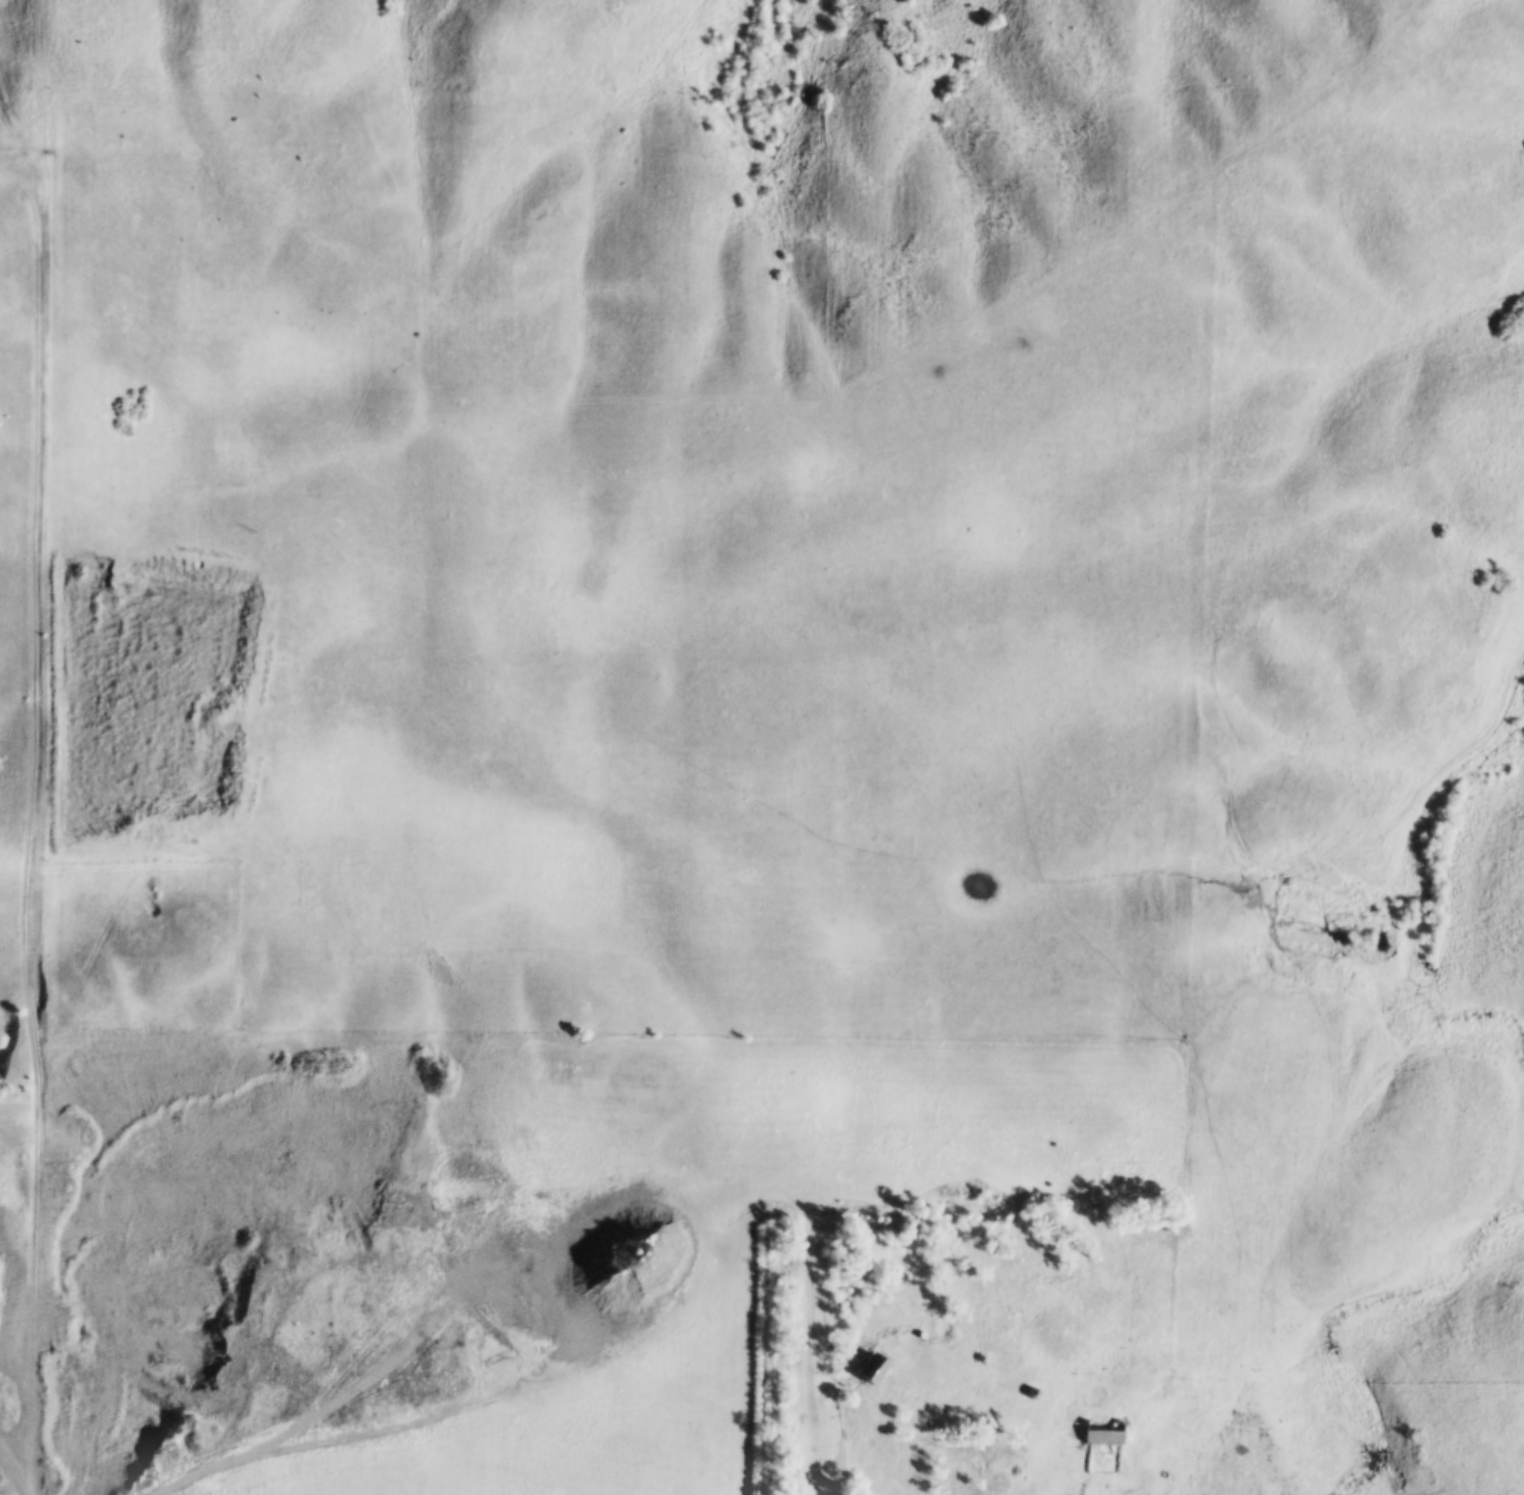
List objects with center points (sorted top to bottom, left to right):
road: (32, 792)
quarry: (308, 1246)
building: (873, 1369)
building: (1103, 1431)
road: (18, 1471)

